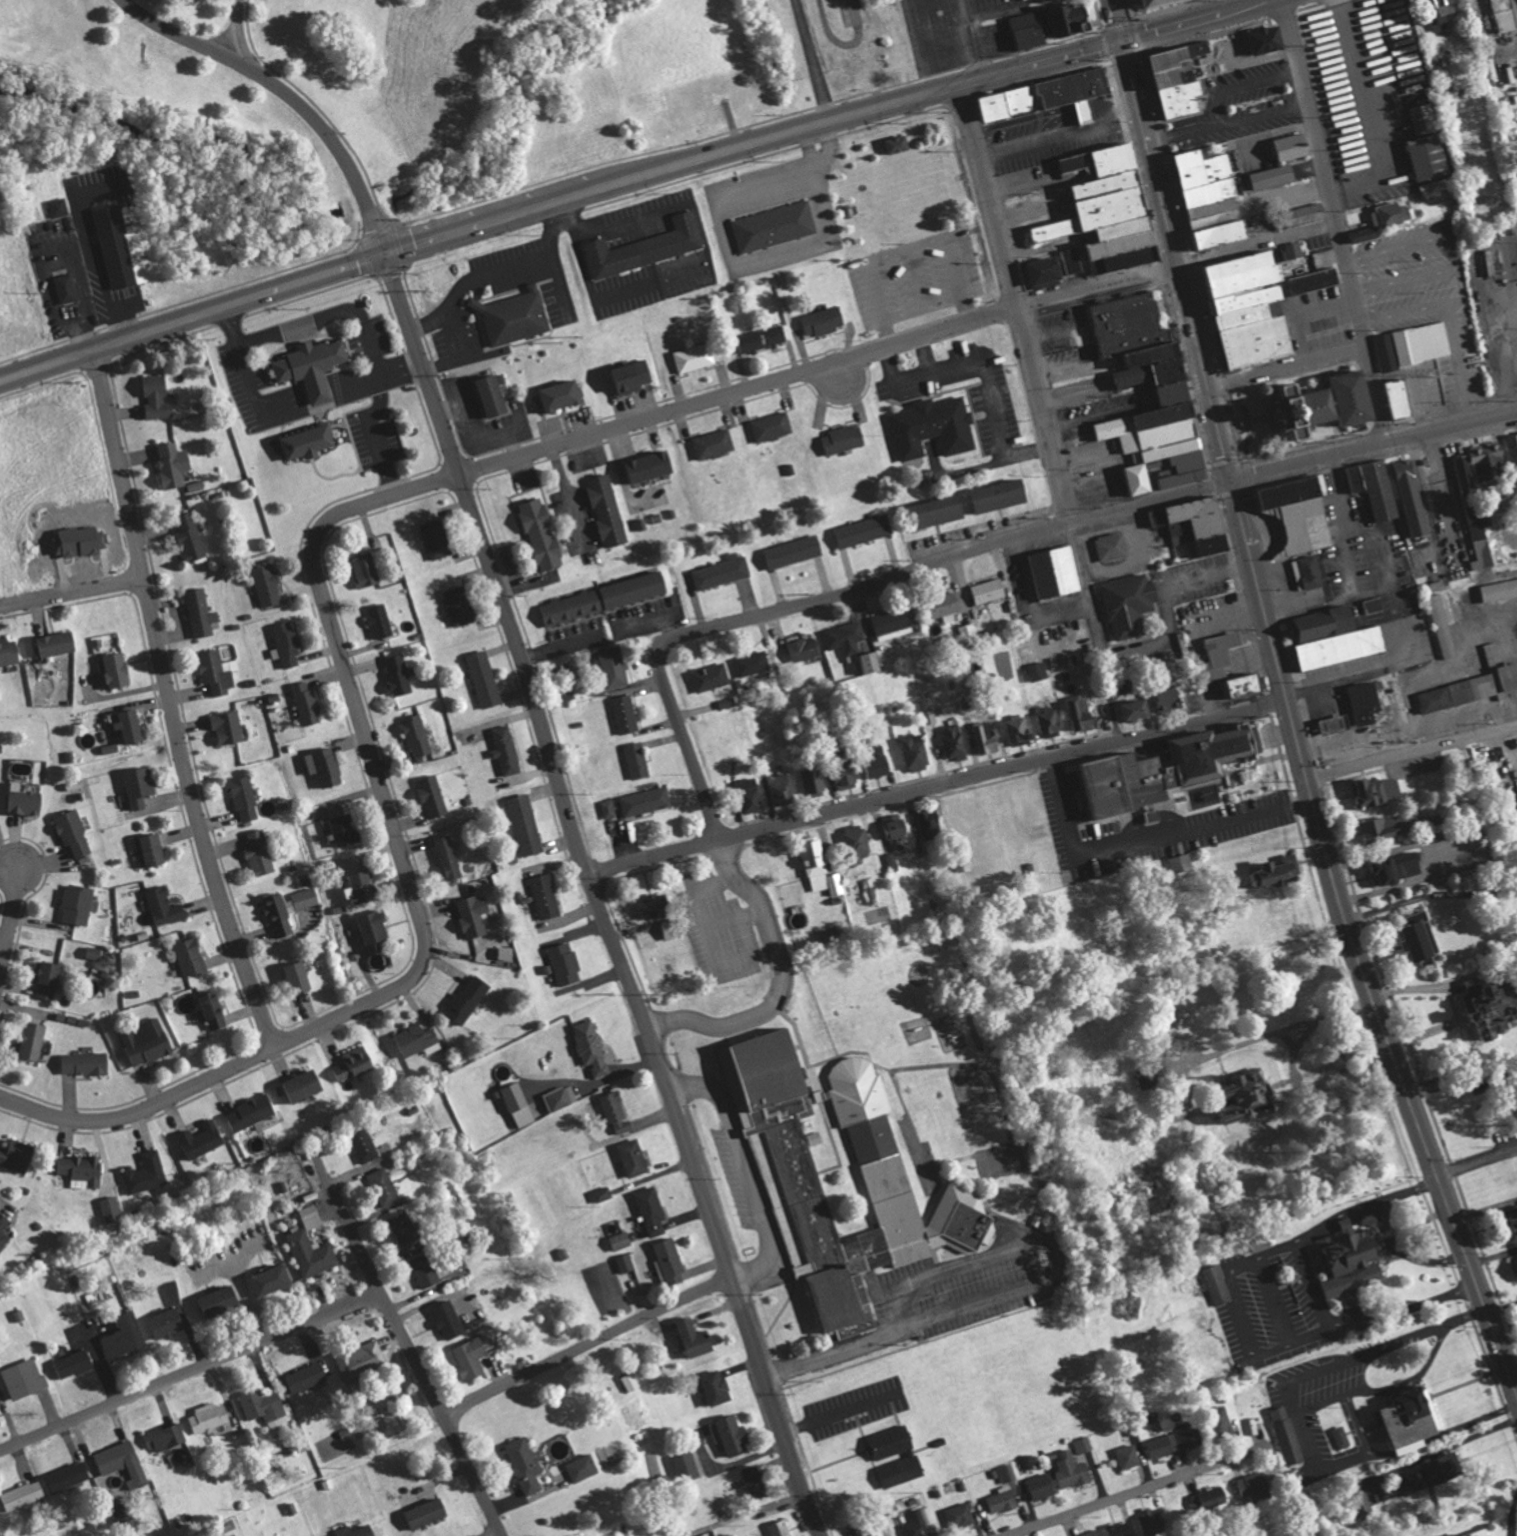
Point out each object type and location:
building: (1048, 0)
building: (1164, 3)
building: (1446, 5)
building: (853, 12)
building: (1503, 15)
building: (1071, 20)
road: (1116, 21)
road: (1193, 21)
building: (1034, 28)
road: (237, 30)
building: (1269, 38)
park: (54, 41)
traffic signals: (1122, 42)
building: (1181, 79)
road: (287, 93)
building: (1040, 95)
building: (1082, 111)
building: (1423, 118)
building: (899, 143)
building: (1292, 146)
road: (1149, 153)
building: (1431, 156)
building: (1110, 159)
building: (1185, 159)
building: (1215, 168)
building: (1190, 176)
building: (1274, 176)
building: (1102, 185)
building: (1207, 192)
road: (557, 198)
building: (59, 207)
building: (1107, 208)
building: (1209, 208)
building: (1305, 214)
road: (1335, 219)
building: (1212, 220)
building: (1384, 220)
building: (772, 226)
building: (1061, 228)
building: (1120, 228)
building: (1217, 235)
road: (1256, 244)
road: (1410, 244)
building: (1117, 245)
building: (641, 247)
building: (128, 248)
building: (1294, 249)
building: (1073, 260)
building: (1121, 261)
building: (1048, 269)
parking lot: (914, 276)
building: (1315, 280)
road: (1461, 280)
road: (1096, 285)
building: (66, 288)
road: (1015, 302)
building: (1250, 308)
building: (512, 317)
road: (324, 320)
building: (823, 320)
building: (1125, 323)
building: (762, 338)
building: (1413, 345)
building: (695, 356)
road: (1459, 361)
building: (314, 366)
road: (1285, 366)
building: (633, 375)
road: (1419, 379)
road: (737, 389)
building: (563, 394)
building: (494, 395)
building: (158, 397)
building: (1404, 397)
building: (1320, 402)
road: (288, 407)
building: (772, 425)
building: (934, 426)
building: (843, 439)
building: (303, 440)
building: (714, 443)
road: (1373, 443)
building: (1514, 446)
building: (1490, 462)
building: (174, 463)
building: (650, 466)
building: (1376, 487)
road: (1445, 492)
building: (1002, 494)
building: (1415, 497)
building: (608, 510)
building: (940, 510)
building: (1301, 513)
building: (1478, 517)
building: (1198, 523)
building: (864, 530)
building: (543, 534)
building: (191, 538)
building: (438, 538)
building: (1112, 546)
building: (794, 551)
road: (946, 556)
building: (366, 569)
building: (722, 572)
building: (1055, 572)
building: (1309, 572)
building: (268, 584)
building: (990, 590)
building: (1501, 590)
road: (71, 591)
building: (606, 598)
building: (1130, 603)
building: (460, 605)
building: (1374, 605)
building: (946, 606)
building: (201, 612)
building: (380, 621)
building: (894, 623)
building: (1444, 625)
building: (1337, 637)
building: (846, 638)
building: (59, 643)
building: (288, 645)
building: (805, 648)
building: (1493, 650)
building: (9, 651)
building: (1223, 652)
building: (874, 662)
building: (753, 663)
building: (615, 666)
building: (118, 670)
building: (215, 671)
building: (1039, 671)
building: (398, 674)
building: (711, 677)
building: (484, 679)
building: (1245, 685)
building: (1485, 685)
building: (1171, 698)
building: (1437, 699)
road: (167, 700)
building: (1367, 702)
building: (308, 704)
building: (1139, 709)
road: (1113, 711)
building: (1083, 712)
building: (626, 714)
building: (1050, 719)
building: (1337, 724)
building: (132, 726)
building: (1019, 726)
building: (229, 727)
building: (416, 735)
building: (988, 737)
road: (685, 740)
building: (955, 741)
building: (506, 749)
road: (1410, 749)
building: (916, 752)
building: (638, 760)
building: (881, 763)
building: (326, 766)
building: (1164, 770)
building: (849, 776)
building: (814, 779)
building: (140, 786)
road: (936, 786)
building: (783, 789)
building: (1377, 790)
building: (751, 795)
building: (433, 796)
building: (244, 798)
building: (1202, 798)
building: (25, 800)
building: (646, 800)
building: (609, 808)
building: (1435, 819)
building: (526, 825)
building: (931, 825)
building: (1390, 827)
building: (896, 829)
building: (346, 830)
building: (74, 832)
road: (1323, 837)
road: (1146, 839)
building: (858, 843)
building: (154, 849)
building: (260, 853)
building: (449, 857)
building: (893, 861)
building: (822, 869)
building: (1395, 869)
building: (1283, 871)
building: (362, 887)
building: (871, 890)
road: (412, 894)
building: (545, 896)
road: (596, 897)
building: (306, 898)
road: (12, 903)
building: (79, 904)
building: (165, 905)
building: (656, 906)
building: (279, 915)
building: (474, 915)
building: (375, 929)
building: (673, 929)
building: (1423, 941)
building: (95, 952)
building: (507, 952)
building: (192, 957)
building: (565, 964)
building: (300, 977)
building: (49, 979)
road: (781, 981)
building: (469, 998)
building: (1491, 1008)
building: (215, 1010)
building: (419, 1039)
building: (33, 1041)
building: (148, 1042)
building: (591, 1047)
building: (86, 1063)
building: (355, 1063)
road: (1461, 1076)
building: (1150, 1078)
building: (305, 1086)
building: (823, 1095)
building: (562, 1097)
building: (1252, 1097)
building: (517, 1103)
building: (617, 1113)
building: (203, 1139)
building: (365, 1145)
building: (18, 1156)
building: (634, 1157)
road: (1476, 1161)
road: (745, 1166)
building: (83, 1170)
building: (147, 1173)
building: (384, 1186)
building: (888, 1187)
building: (603, 1194)
building: (112, 1209)
building: (653, 1210)
building: (311, 1217)
building: (1514, 1217)
building: (963, 1220)
building: (1349, 1224)
building: (405, 1228)
building: (4, 1230)
building: (621, 1240)
building: (313, 1254)
building: (670, 1262)
building: (625, 1263)
building: (1353, 1266)
building: (426, 1272)
building: (273, 1280)
building: (1217, 1285)
road: (1012, 1291)
building: (221, 1301)
building: (449, 1320)
building: (167, 1323)
building: (125, 1337)
building: (696, 1338)
road: (587, 1344)
building: (363, 1358)
building: (470, 1358)
road: (417, 1360)
building: (73, 1364)
road: (192, 1373)
building: (307, 1377)
building: (25, 1379)
building: (632, 1381)
building: (717, 1387)
building: (1, 1401)
building: (266, 1407)
building: (209, 1417)
building: (1412, 1421)
building: (1286, 1435)
building: (734, 1436)
building: (166, 1437)
building: (1341, 1437)
building: (1175, 1440)
building: (892, 1441)
building: (1083, 1444)
building: (1128, 1457)
building: (123, 1463)
building: (525, 1464)
building: (687, 1467)
building: (583, 1468)
building: (901, 1471)
building: (1073, 1471)
building: (1008, 1473)
building: (1433, 1474)
building: (68, 1476)
building: (755, 1482)
building: (327, 1484)
building: (1043, 1486)
building: (1256, 1486)
road: (1139, 1491)
building: (22, 1495)
building: (1211, 1499)
building: (1004, 1501)
building: (123, 1512)
building: (428, 1513)
building: (961, 1515)
building: (1152, 1521)
building: (920, 1523)
building: (779, 1528)
building: (862, 1530)
building: (357, 1531)
building: (1483, 1532)
building: (1095, 1533)
road: (497, 1534)

